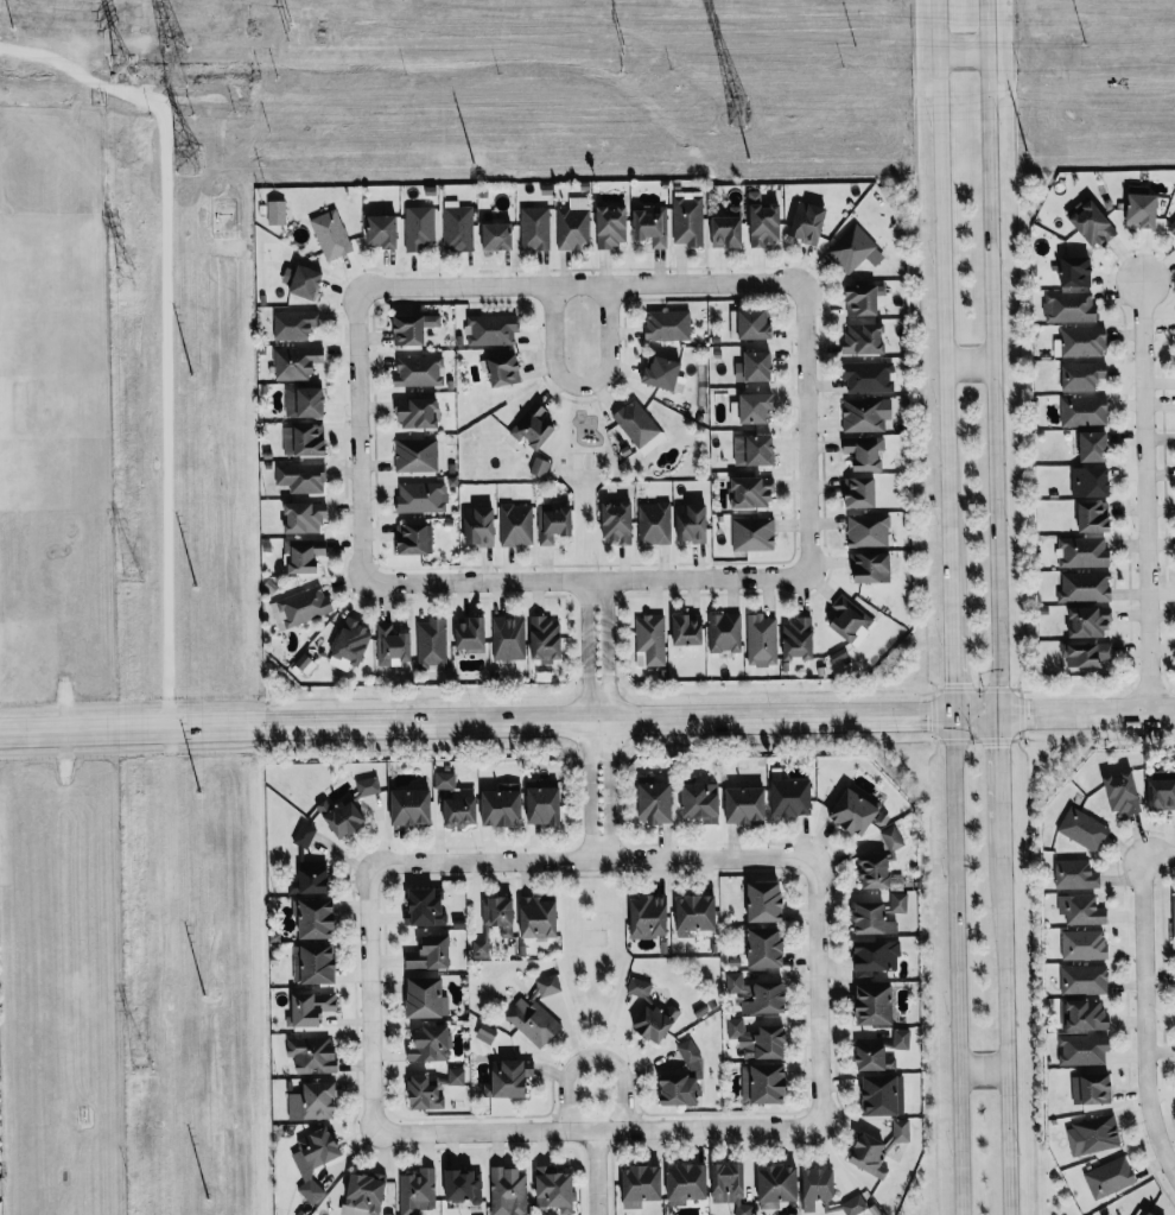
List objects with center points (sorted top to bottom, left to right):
power tower: (288, 4)
power tower: (1084, 40)
power tower: (857, 44)
power tower: (623, 49)
power tower: (122, 67)
power tower: (171, 68)
power tower: (736, 113)
power tower: (188, 153)
building: (1143, 208)
building: (277, 213)
building: (688, 221)
building: (764, 221)
building: (808, 222)
building: (1091, 222)
building: (573, 224)
building: (611, 226)
building: (652, 226)
building: (1171, 226)
building: (418, 227)
building: (458, 228)
building: (534, 228)
building: (729, 229)
building: (383, 230)
building: (496, 233)
building: (331, 234)
building: (855, 249)
building: (1076, 271)
power tower: (126, 279)
building: (306, 281)
road: (583, 286)
building: (863, 299)
road: (944, 305)
building: (1069, 306)
building: (294, 324)
building: (668, 324)
building: (755, 324)
building: (413, 328)
building: (491, 329)
building: (864, 338)
building: (1082, 341)
road: (990, 361)
building: (297, 362)
building: (755, 367)
building: (419, 371)
building: (663, 373)
building: (1082, 375)
building: (868, 376)
road: (582, 382)
building: (305, 403)
building: (756, 407)
building: (1084, 411)
building: (418, 413)
building: (865, 413)
building: (533, 426)
building: (639, 426)
road: (807, 432)
road: (360, 435)
building: (304, 441)
building: (1095, 447)
building: (755, 450)
building: (865, 451)
building: (417, 454)
building: (539, 467)
park: (584, 472)
building: (301, 477)
building: (1091, 482)
building: (860, 492)
building: (751, 493)
building: (421, 496)
road: (1145, 500)
building: (304, 517)
building: (1094, 517)
building: (617, 521)
building: (553, 523)
building: (654, 523)
building: (692, 523)
building: (515, 525)
building: (479, 526)
building: (869, 530)
building: (752, 533)
building: (414, 539)
building: (1082, 552)
building: (304, 555)
building: (871, 568)
power tower: (133, 576)
road: (584, 581)
building: (1085, 587)
building: (304, 605)
building: (850, 618)
building: (1090, 622)
building: (687, 629)
building: (724, 632)
building: (470, 634)
building: (508, 638)
building: (546, 639)
building: (762, 639)
building: (798, 639)
building: (650, 640)
building: (431, 644)
building: (393, 645)
building: (1086, 653)
building: (838, 656)
road: (953, 667)
road: (587, 719)
road: (608, 719)
traffic signals: (999, 722)
traffic signals: (954, 723)
road: (587, 730)
road: (999, 768)
building: (444, 779)
building: (368, 785)
building: (1162, 790)
building: (1122, 792)
building: (793, 796)
building: (656, 797)
building: (703, 799)
building: (544, 802)
building: (747, 803)
building: (503, 804)
building: (412, 805)
building: (461, 810)
building: (856, 810)
building: (342, 816)
building: (1084, 828)
building: (304, 834)
building: (893, 836)
road: (1174, 843)
road: (592, 859)
building: (877, 872)
building: (1075, 874)
building: (311, 877)
building: (766, 900)
building: (898, 900)
building: (426, 906)
building: (1081, 909)
building: (500, 912)
building: (696, 912)
building: (1173, 913)
building: (649, 915)
building: (539, 916)
building: (318, 917)
building: (874, 918)
building: (1084, 944)
building: (767, 945)
building: (479, 947)
park: (593, 951)
building: (431, 953)
building: (875, 955)
building: (315, 962)
road: (957, 969)
building: (1084, 979)
building: (548, 983)
road: (818, 991)
building: (758, 992)
building: (427, 995)
road: (370, 996)
road: (1167, 999)
building: (876, 1004)
building: (312, 1006)
building: (650, 1010)
building: (1084, 1013)
road: (1004, 1014)
building: (533, 1020)
building: (760, 1036)
building: (902, 1037)
building: (431, 1043)
building: (1082, 1049)
building: (313, 1053)
road: (596, 1053)
building: (874, 1053)
building: (513, 1076)
power tower: (142, 1078)
building: (684, 1078)
building: (766, 1082)
building: (434, 1087)
building: (1092, 1088)
building: (884, 1094)
building: (313, 1100)
road: (596, 1128)
building: (901, 1129)
building: (1093, 1134)
building: (871, 1153)
building: (315, 1158)
road: (597, 1171)
building: (1110, 1176)
building: (688, 1181)
building: (463, 1184)
building: (642, 1184)
building: (732, 1184)
building: (779, 1184)
building: (818, 1185)
building: (554, 1186)
building: (418, 1190)
building: (508, 1190)
building: (364, 1195)
building: (843, 1205)
building: (1151, 1213)

